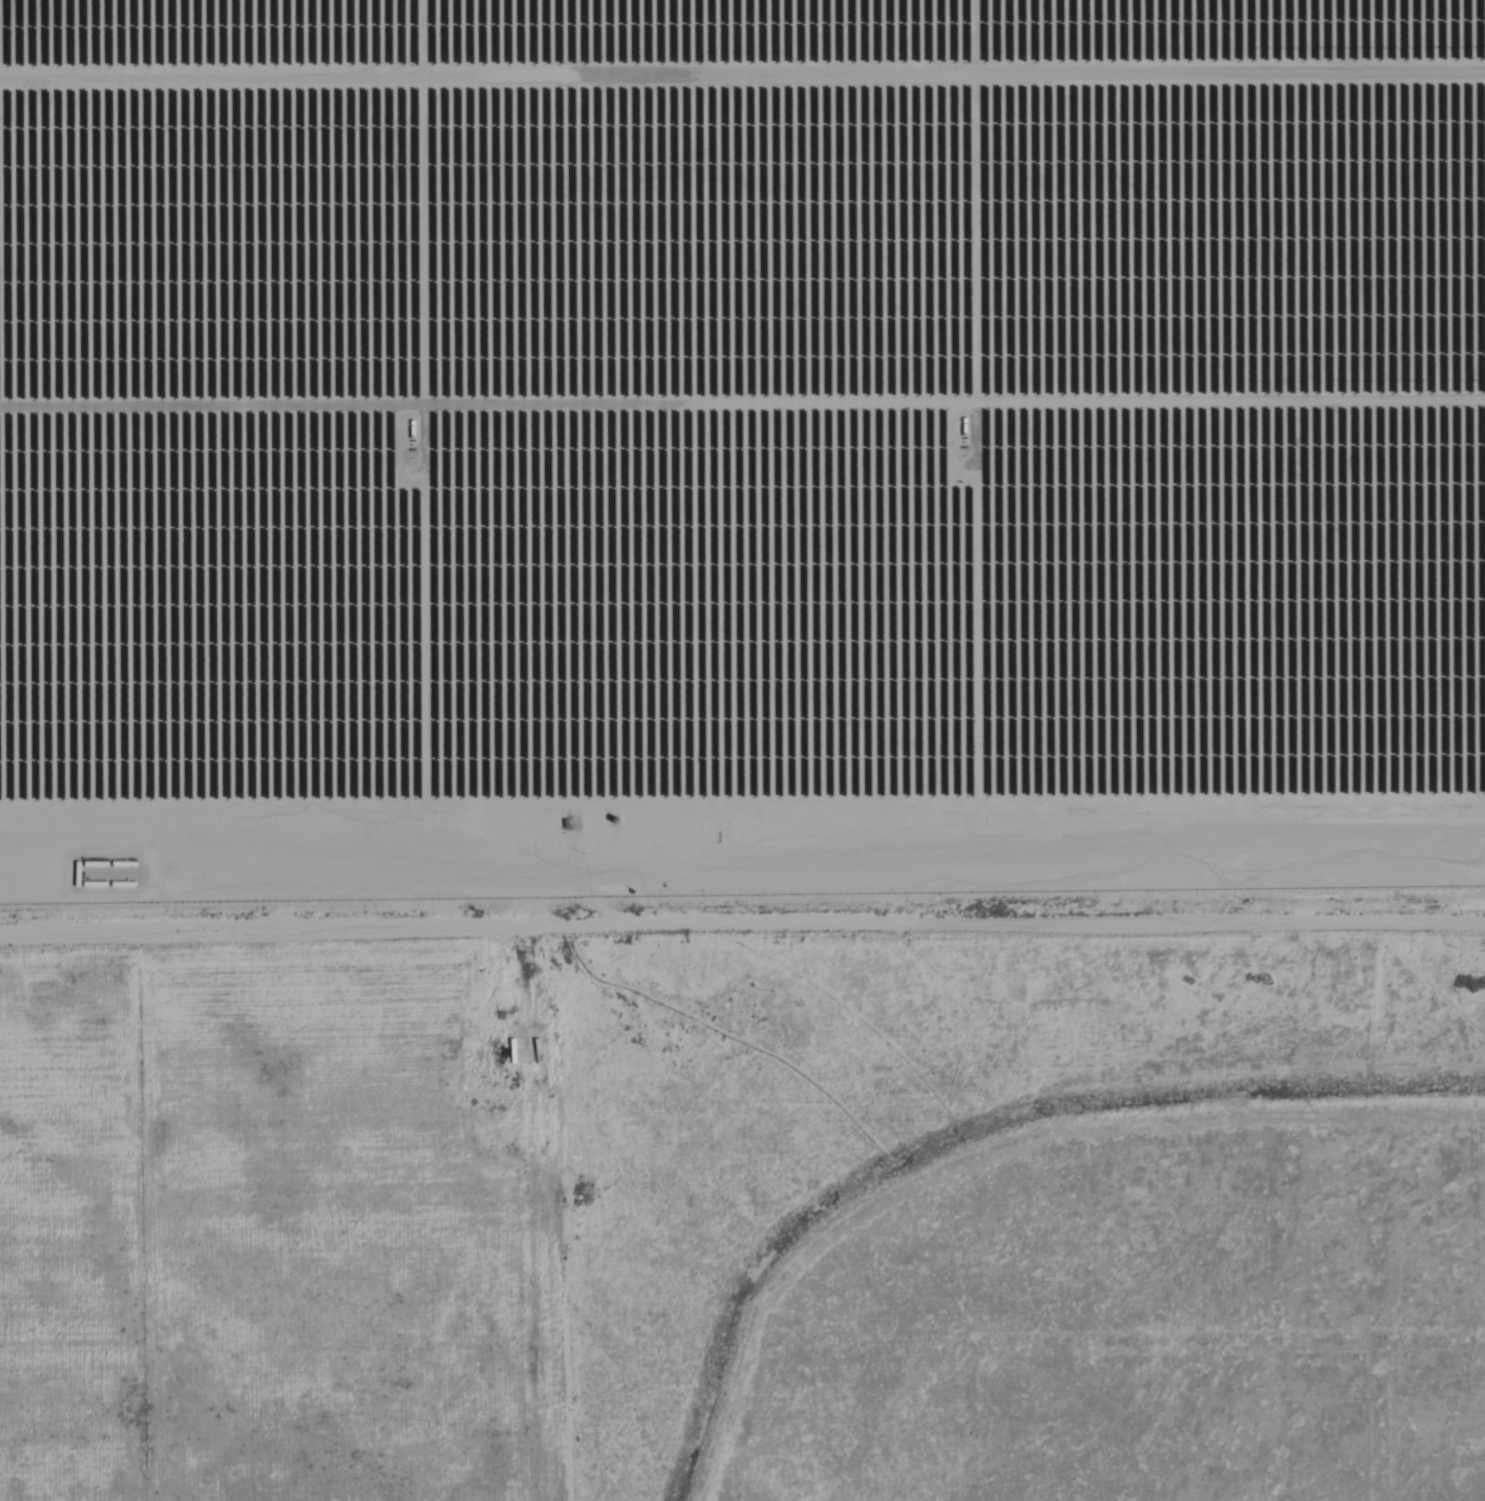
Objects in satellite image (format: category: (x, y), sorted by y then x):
solar farm: (740, 447)
road: (742, 926)
building: (524, 1048)

